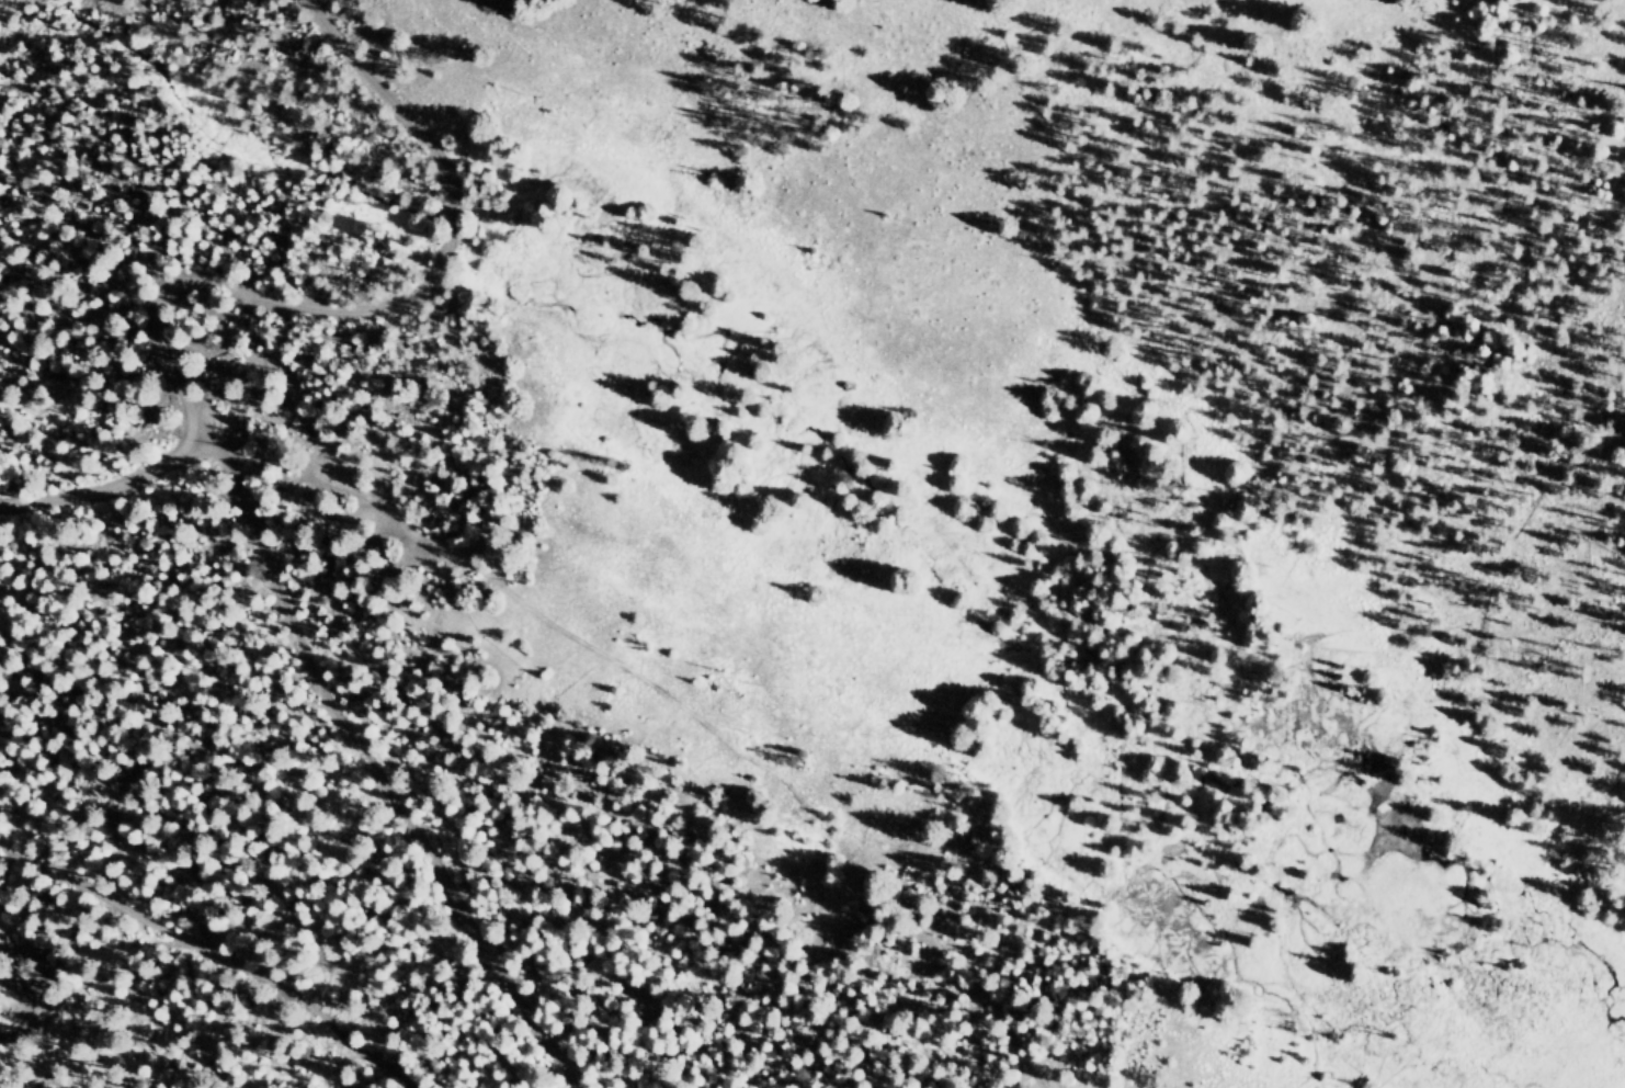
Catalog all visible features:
road: (402, 101)
road: (178, 309)
road: (724, 608)
road: (243, 915)

